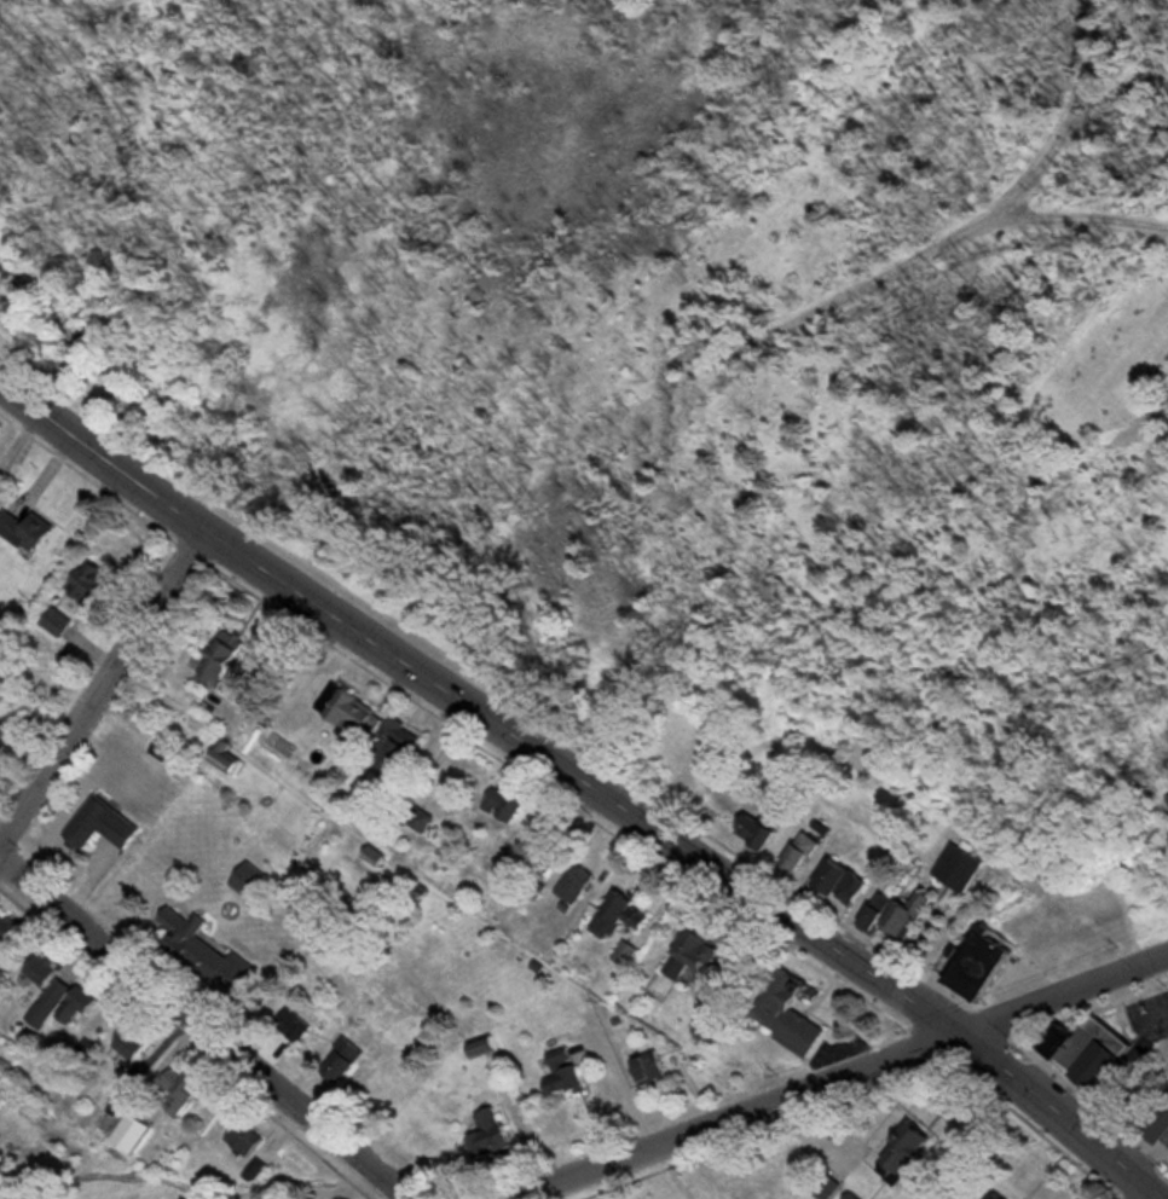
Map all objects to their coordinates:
park: (1050, 219)
building: (0, 482)
building: (35, 528)
building: (105, 573)
building: (237, 658)
road: (106, 689)
building: (347, 713)
building: (13, 717)
building: (403, 755)
road: (586, 780)
building: (111, 822)
building: (796, 857)
building: (959, 868)
building: (259, 879)
building: (574, 884)
building: (837, 885)
building: (618, 916)
building: (895, 916)
building: (195, 927)
building: (12, 931)
building: (625, 954)
building: (687, 958)
building: (971, 966)
building: (56, 989)
building: (91, 1002)
building: (788, 1012)
road: (204, 1025)
building: (143, 1042)
building: (493, 1044)
building: (1086, 1052)
building: (353, 1056)
building: (657, 1068)
building: (571, 1070)
road: (829, 1077)
building: (193, 1085)
building: (1160, 1123)
building: (139, 1130)
building: (258, 1135)
building: (501, 1135)
building: (923, 1147)
road: (1153, 1194)
building: (861, 1195)
building: (1004, 1195)
building: (56, 1198)

